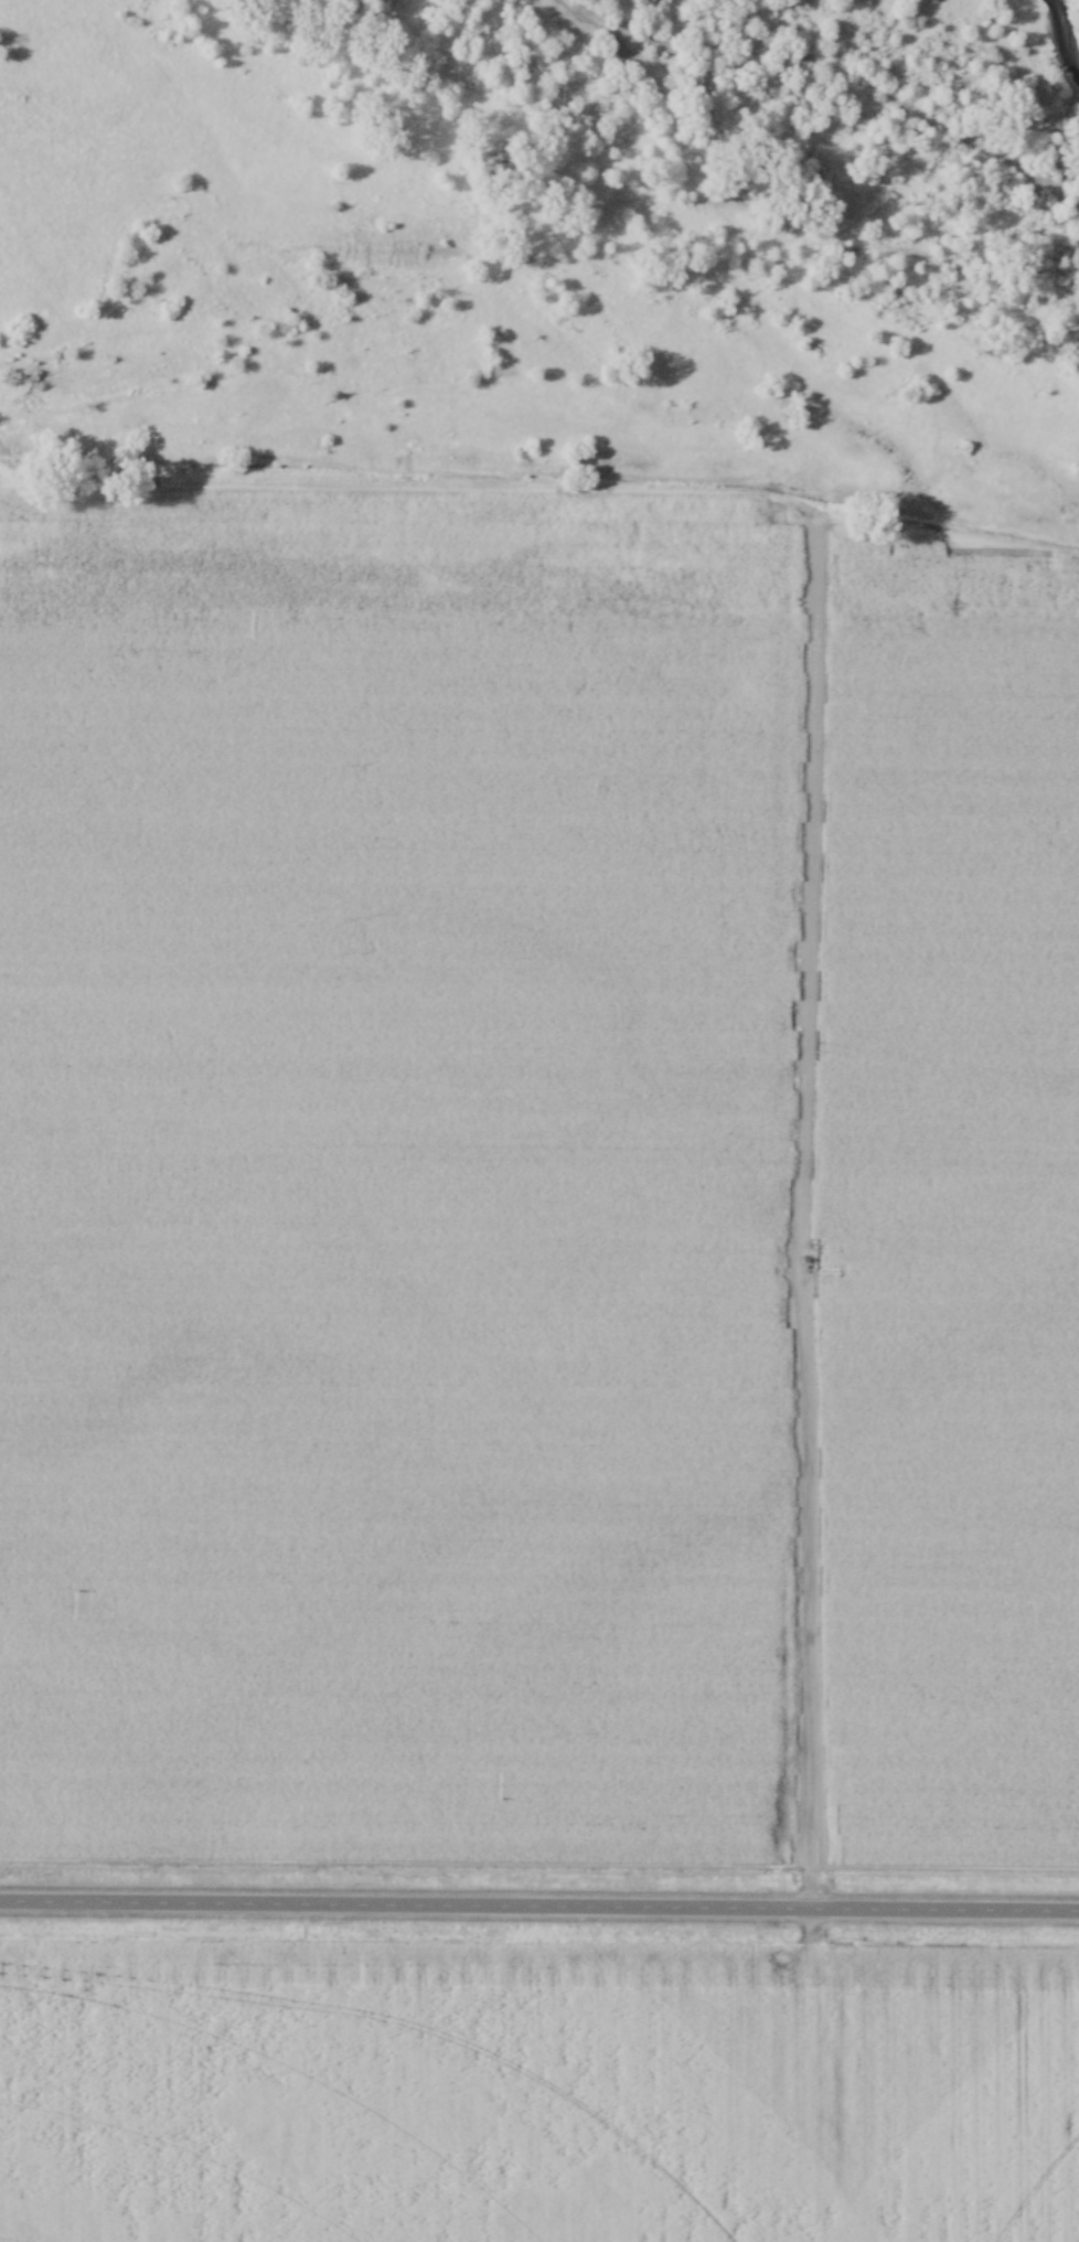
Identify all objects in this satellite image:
road: (538, 1909)

